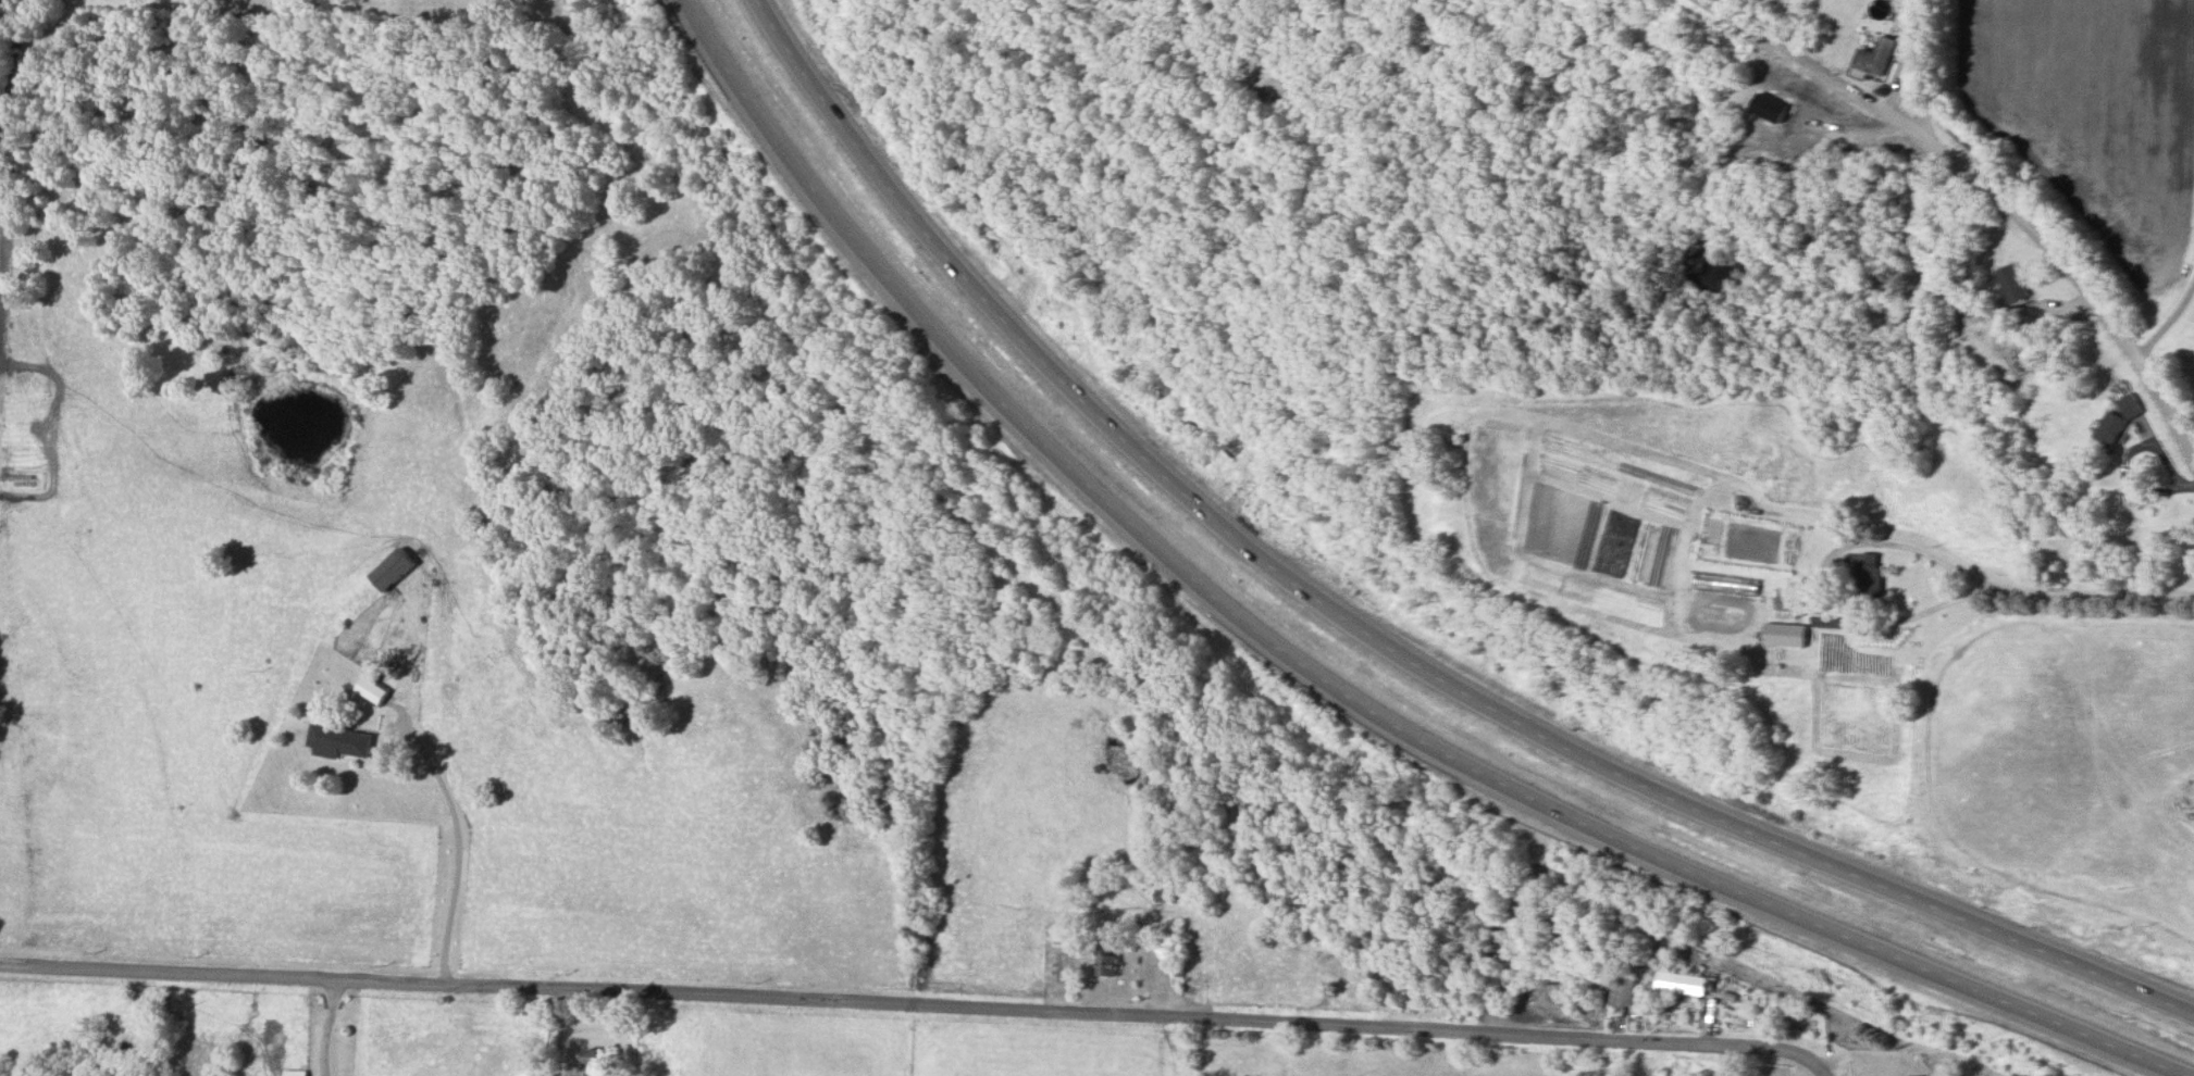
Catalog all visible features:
building: (1876, 60)
building: (1770, 111)
crop: (2094, 117)
road: (1984, 186)
building: (2015, 287)
road: (2170, 343)
building: (2117, 425)
road: (1842, 552)
building: (393, 573)
building: (1867, 580)
road: (2092, 595)
road: (1378, 645)
road: (1327, 690)
building: (372, 691)
building: (331, 739)
road: (458, 843)
building: (1107, 963)
building: (1682, 985)
building: (1625, 992)
road: (916, 1003)
road: (331, 1028)
road: (561, 1031)
road: (1852, 1056)
building: (592, 1063)
building: (296, 1074)
road: (1825, 1075)

